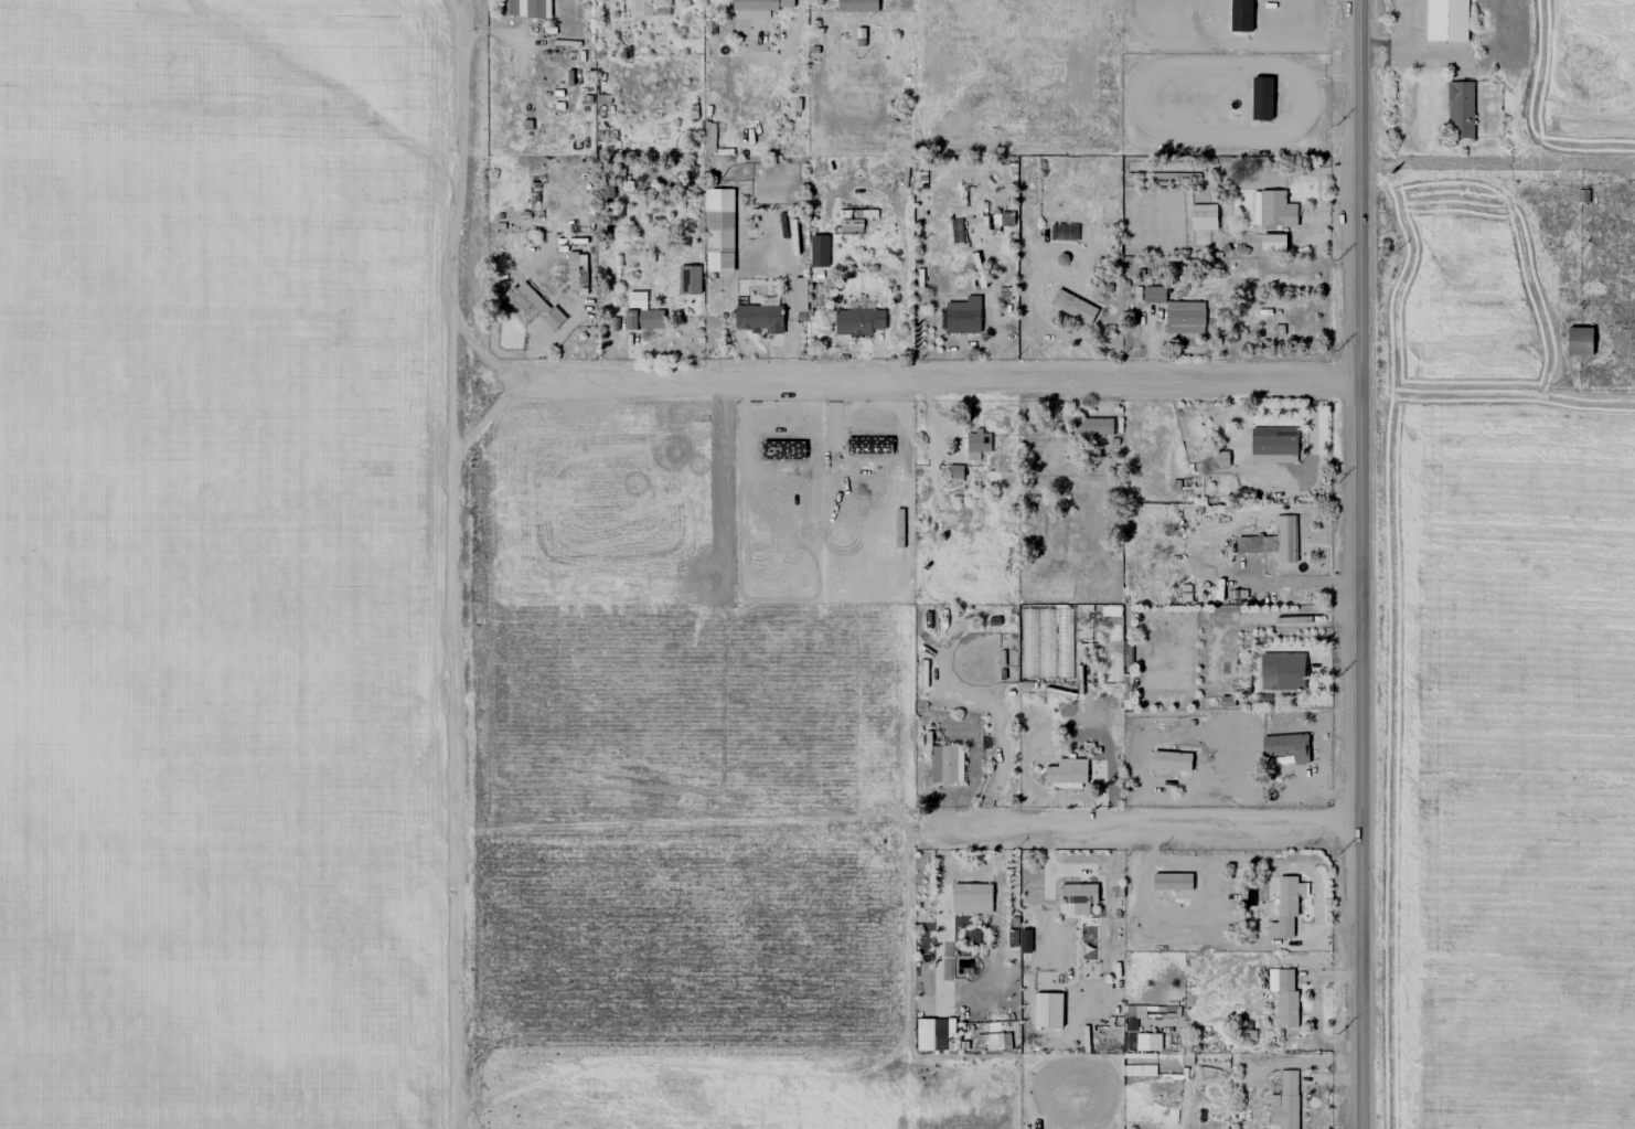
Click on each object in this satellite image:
building: (856, 6)
building: (533, 8)
building: (650, 8)
building: (757, 8)
building: (1445, 20)
building: (1460, 109)
road: (1497, 162)
building: (1272, 209)
building: (1203, 216)
building: (718, 230)
building: (1272, 241)
building: (817, 251)
building: (576, 271)
building: (688, 279)
building: (798, 294)
building: (1153, 294)
building: (533, 305)
building: (1072, 306)
building: (641, 312)
building: (961, 316)
building: (1184, 317)
building: (758, 318)
building: (857, 321)
building: (1579, 341)
road: (478, 351)
road: (934, 380)
road: (480, 423)
building: (1091, 426)
building: (976, 445)
building: (1272, 445)
building: (1219, 458)
building: (954, 473)
building: (1272, 540)
road: (451, 564)
road: (1360, 564)
building: (1038, 659)
building: (1281, 671)
building: (1286, 746)
building: (1169, 760)
building: (945, 763)
building: (1066, 774)
road: (1160, 827)
road: (981, 867)
building: (1077, 896)
building: (970, 898)
building: (1286, 903)
road: (940, 912)
building: (971, 937)
building: (1285, 999)
building: (1047, 1010)
building: (936, 1034)
building: (1141, 1041)
building: (1283, 1103)

